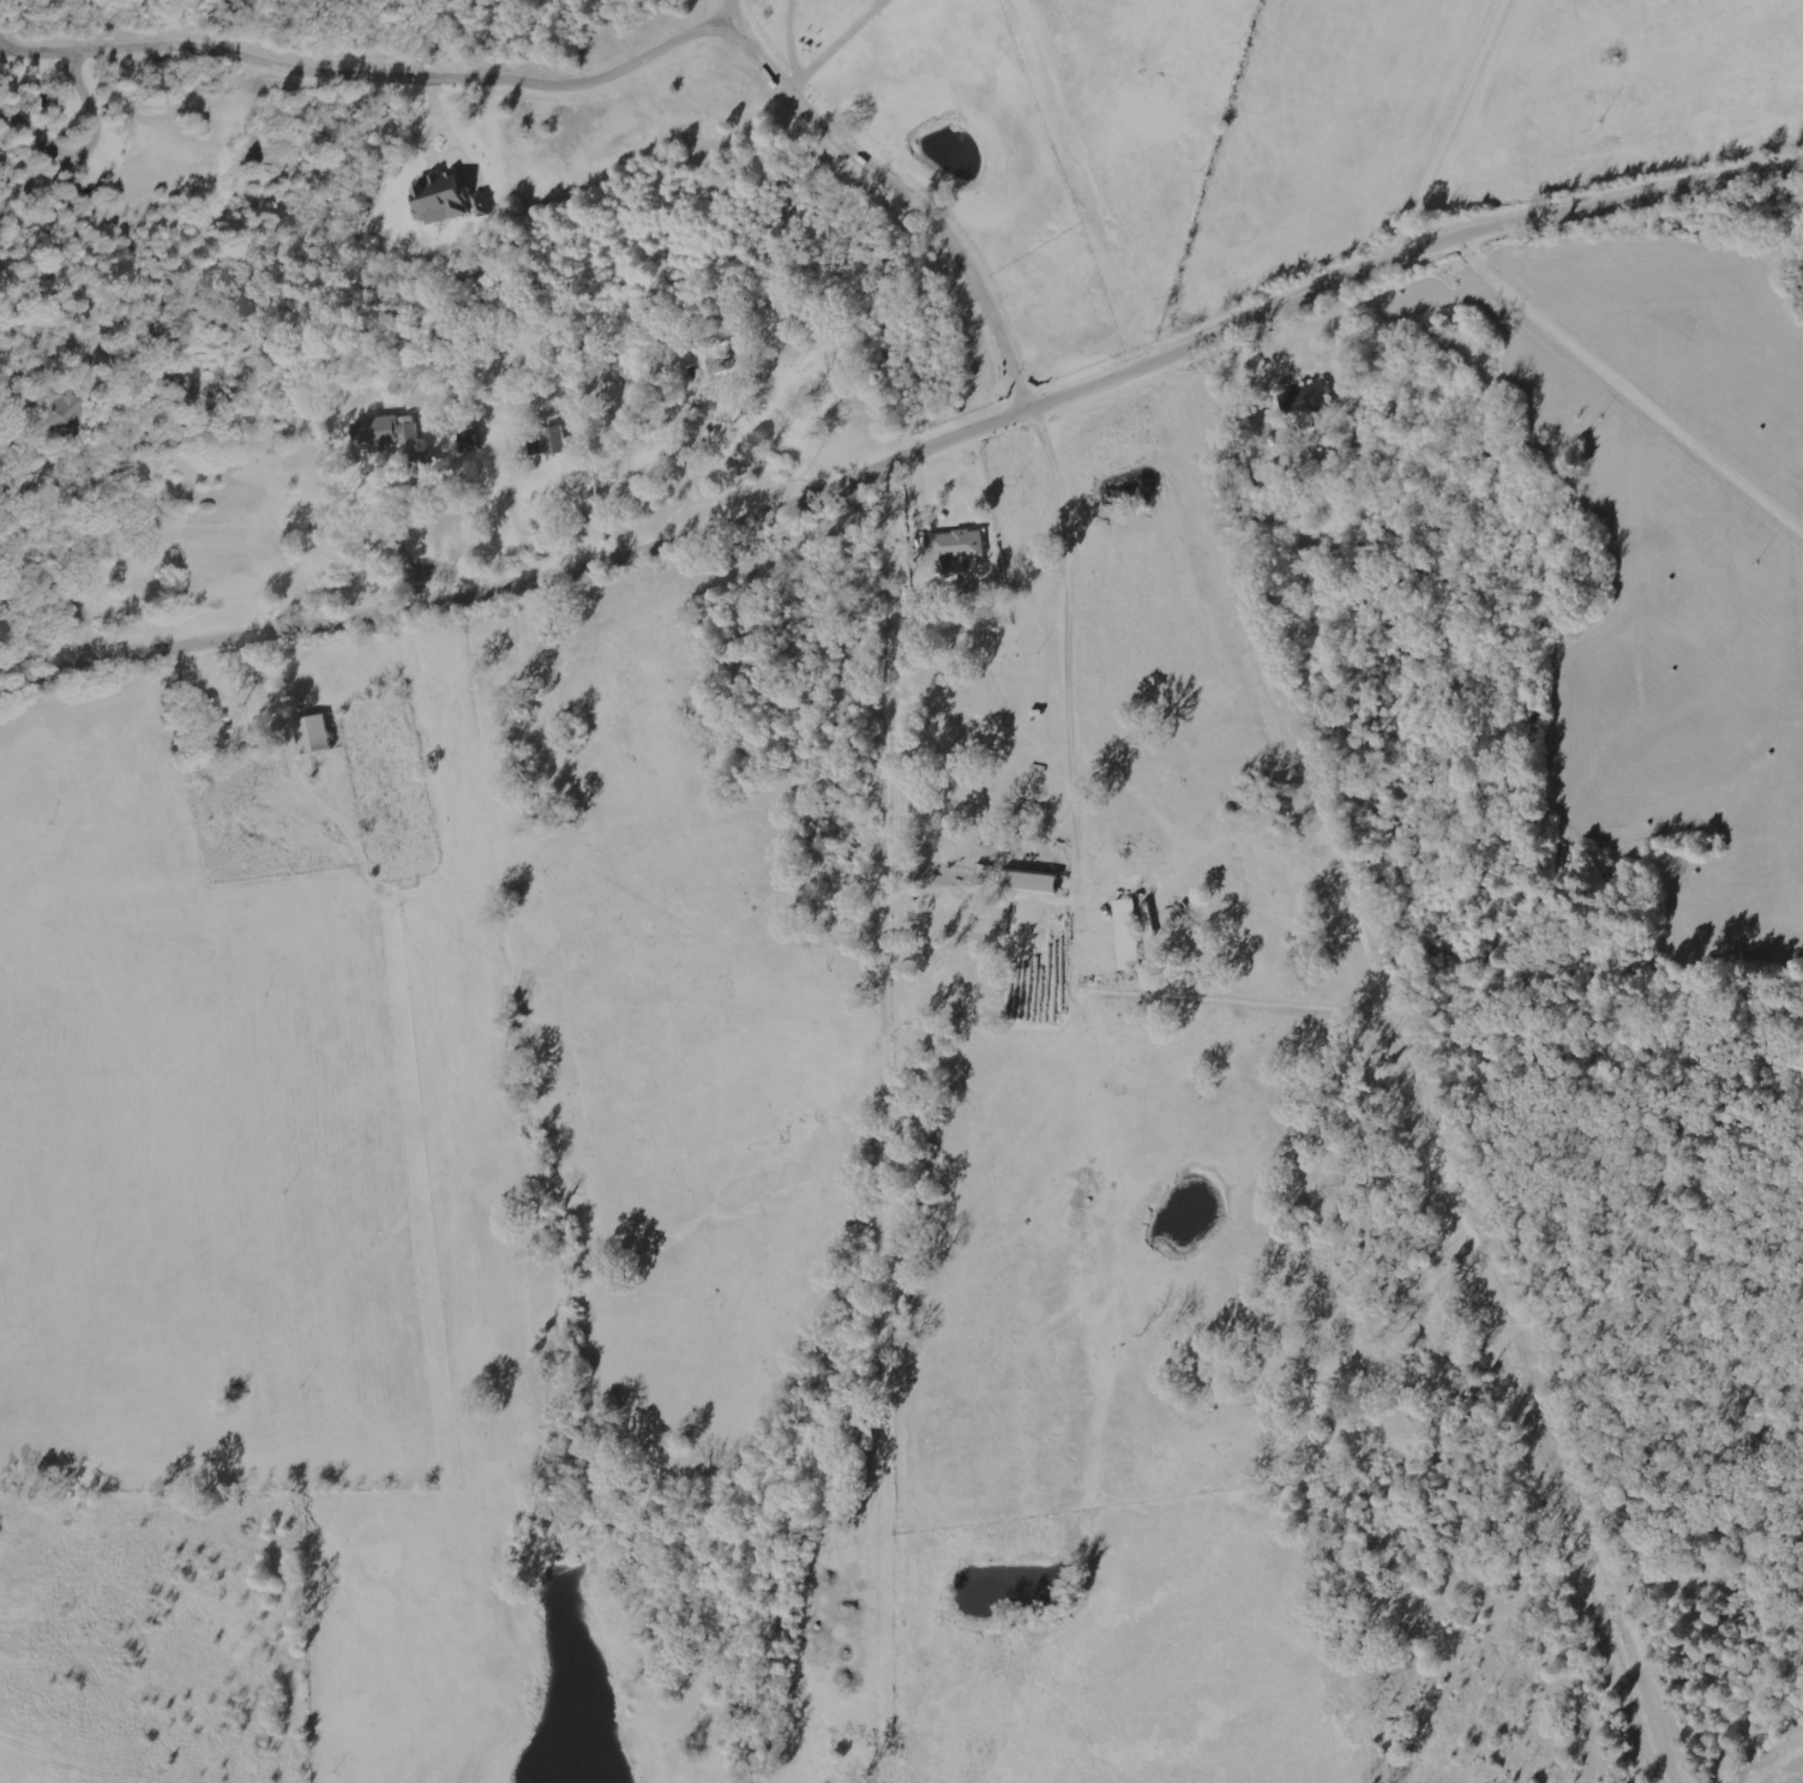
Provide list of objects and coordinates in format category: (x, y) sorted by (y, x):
road: (713, 14)
road: (357, 78)
road: (1434, 124)
road: (900, 197)
building: (441, 198)
road: (1609, 209)
building: (716, 360)
road: (1738, 376)
building: (1308, 397)
building: (66, 415)
building: (383, 432)
building: (467, 440)
building: (545, 442)
road: (11, 516)
road: (725, 532)
building: (956, 545)
road: (1070, 647)
building: (211, 720)
building: (309, 733)
building: (1027, 881)
building: (1132, 930)

